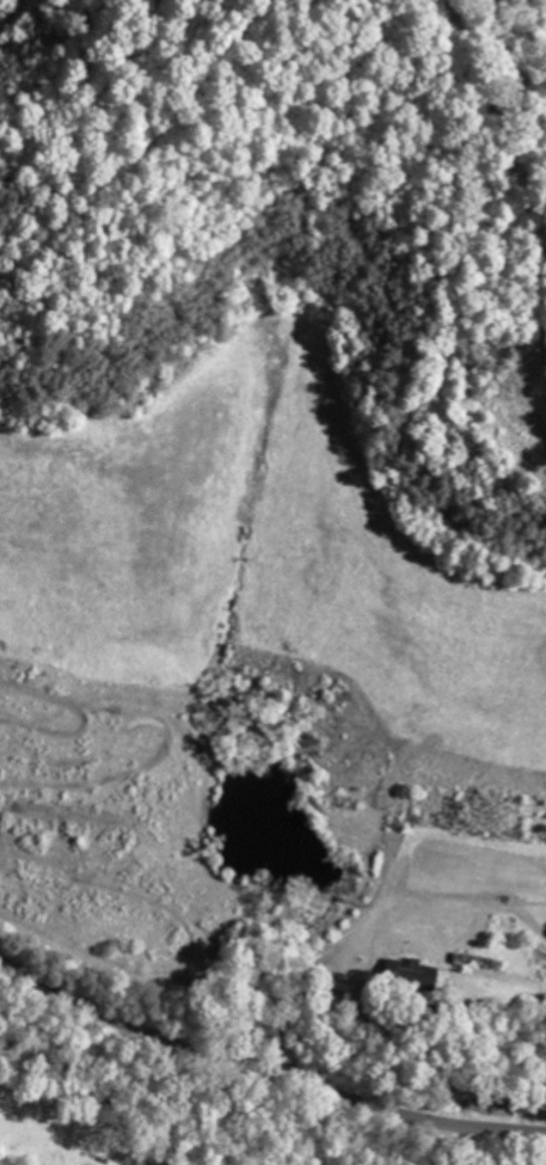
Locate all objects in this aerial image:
building: (406, 973)
road: (260, 1077)

